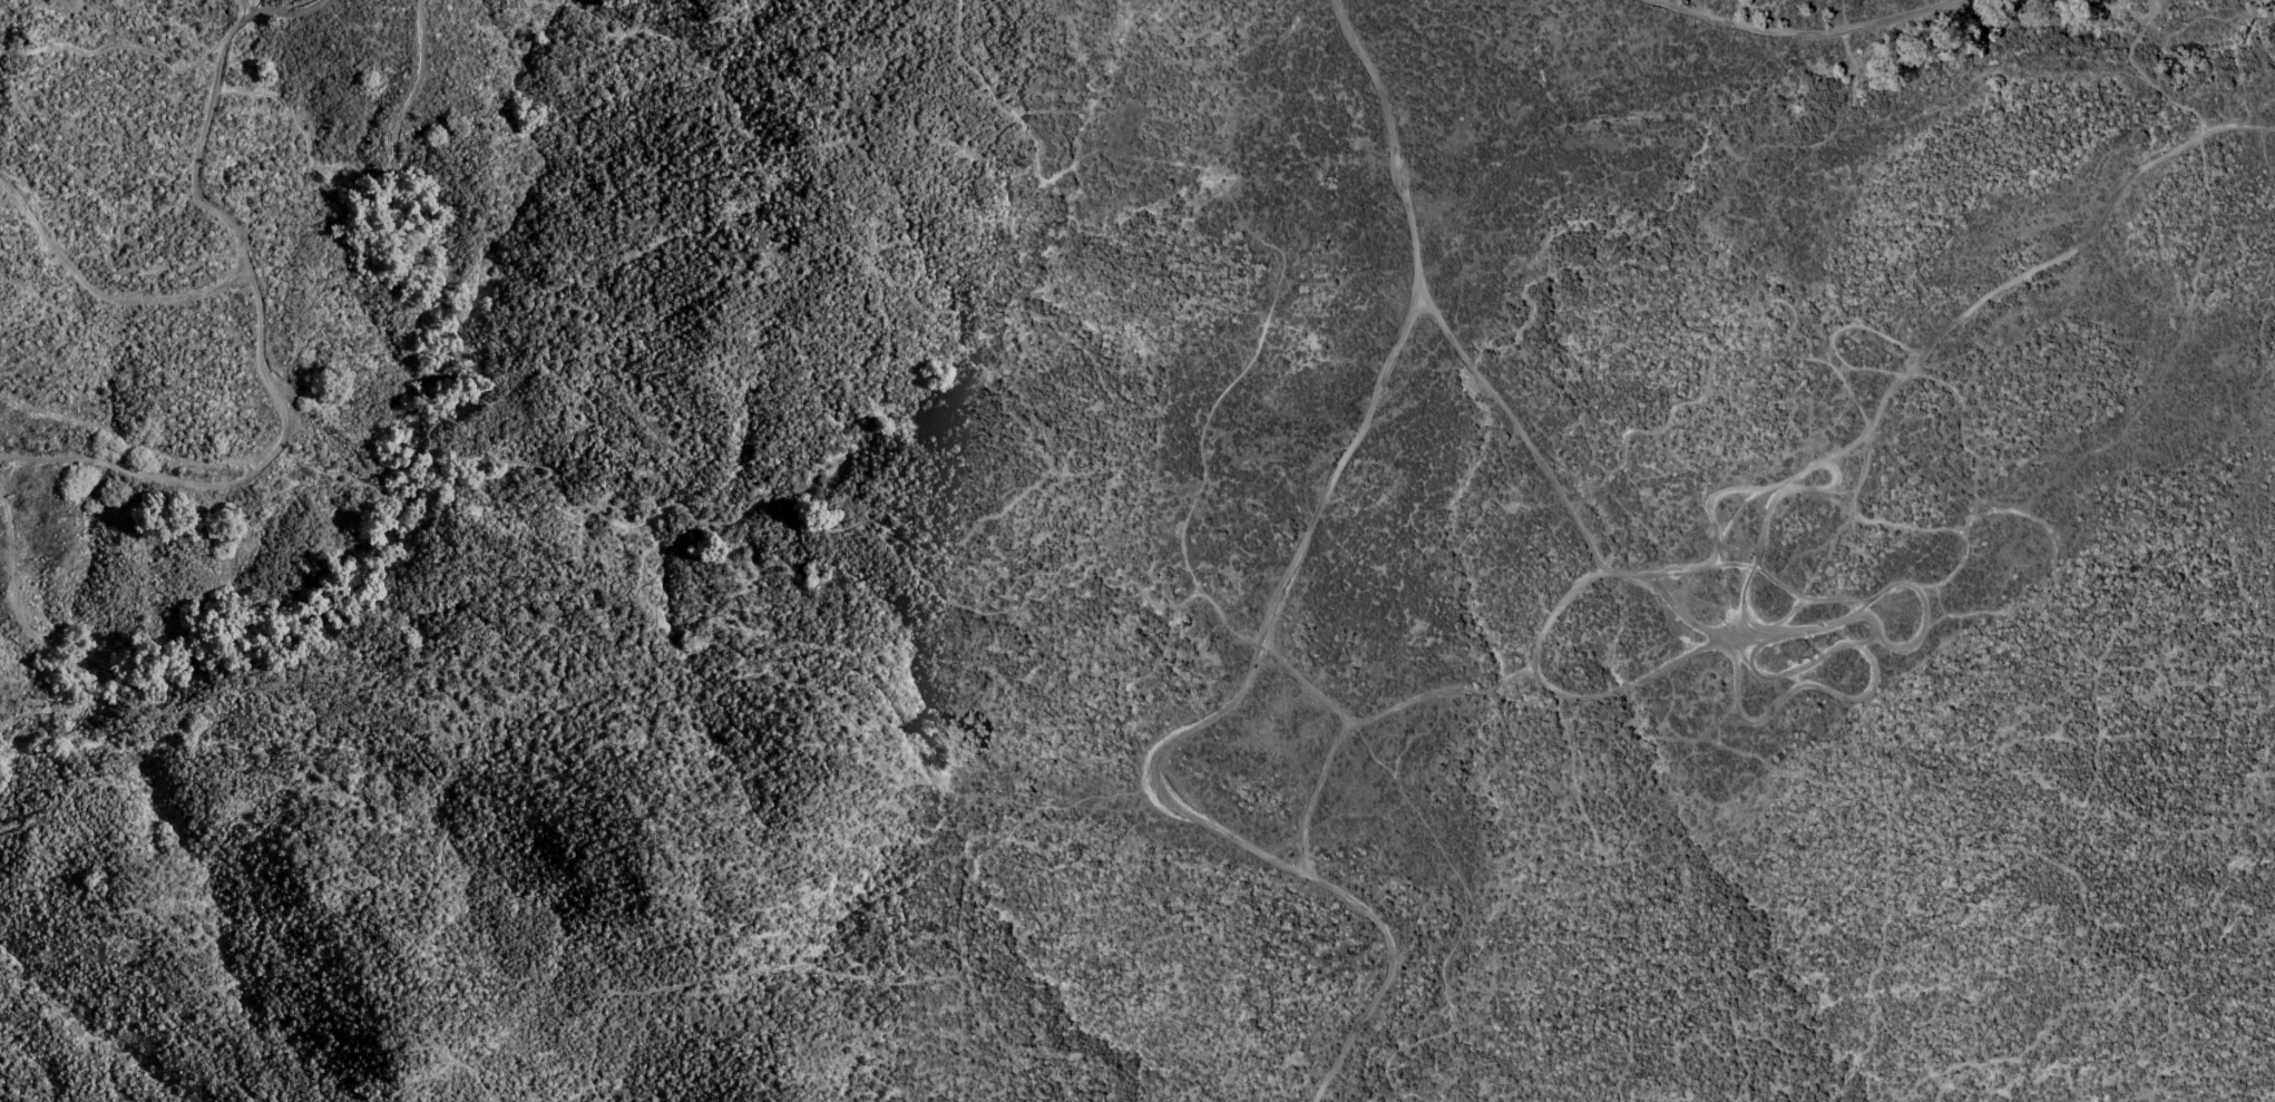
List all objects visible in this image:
road: (1799, 36)
road: (237, 242)
road: (1985, 616)
road: (1267, 634)

